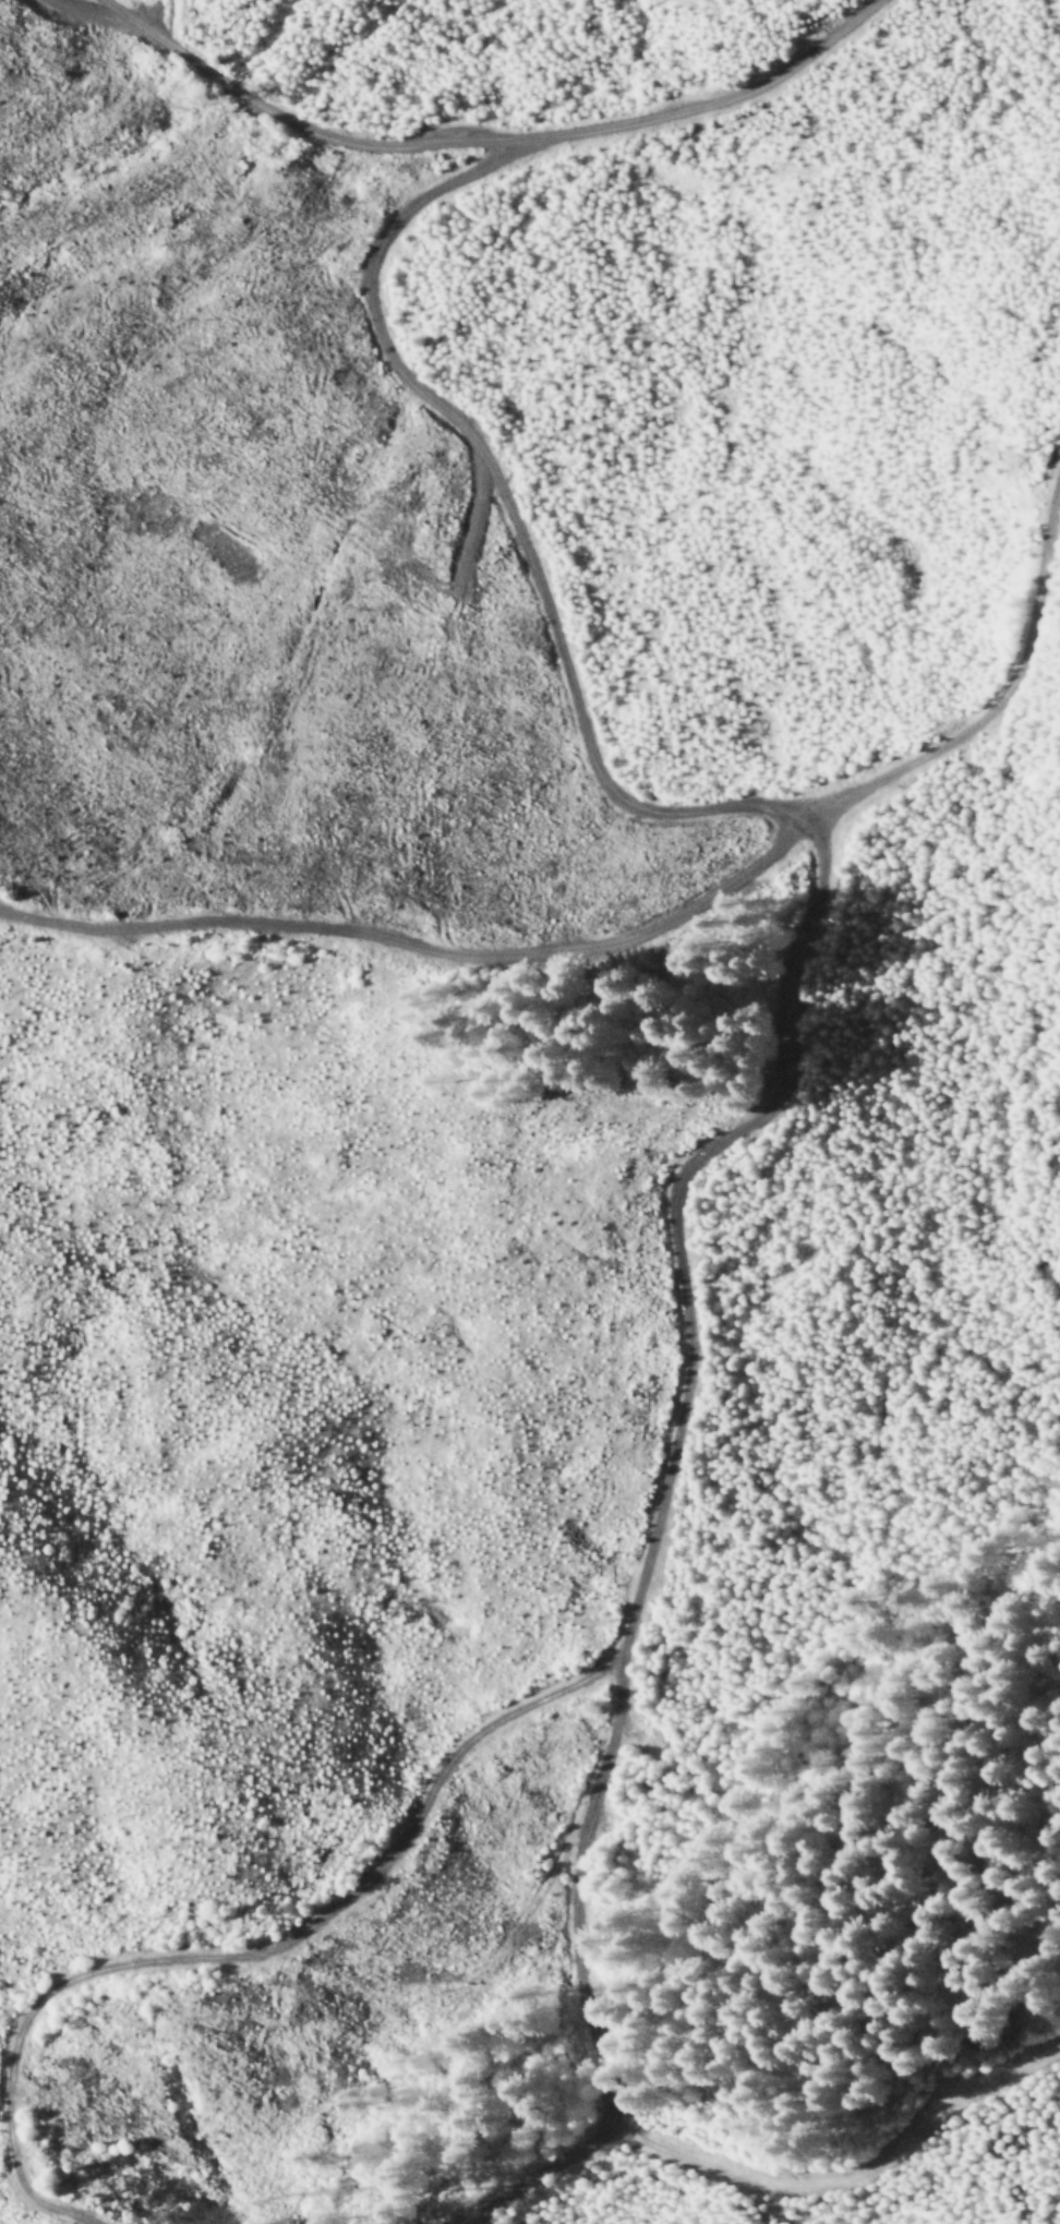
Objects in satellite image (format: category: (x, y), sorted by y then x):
road: (484, 136)
road: (577, 714)
road: (684, 1239)
road: (564, 1883)
road: (771, 2180)

